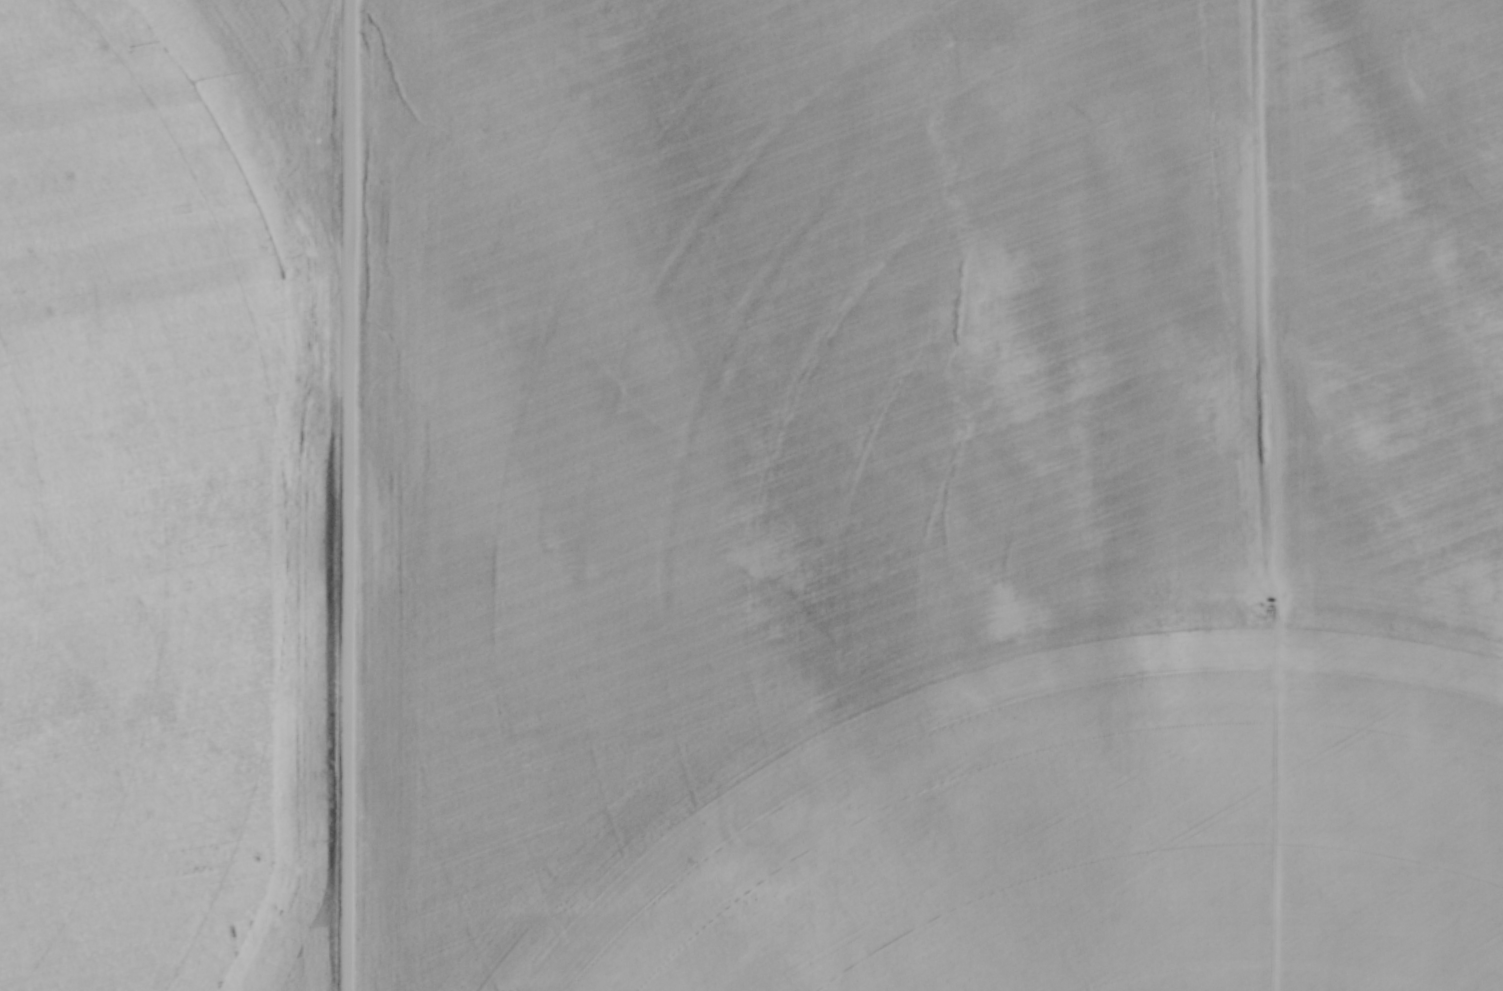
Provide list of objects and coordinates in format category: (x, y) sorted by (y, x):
road: (349, 495)

